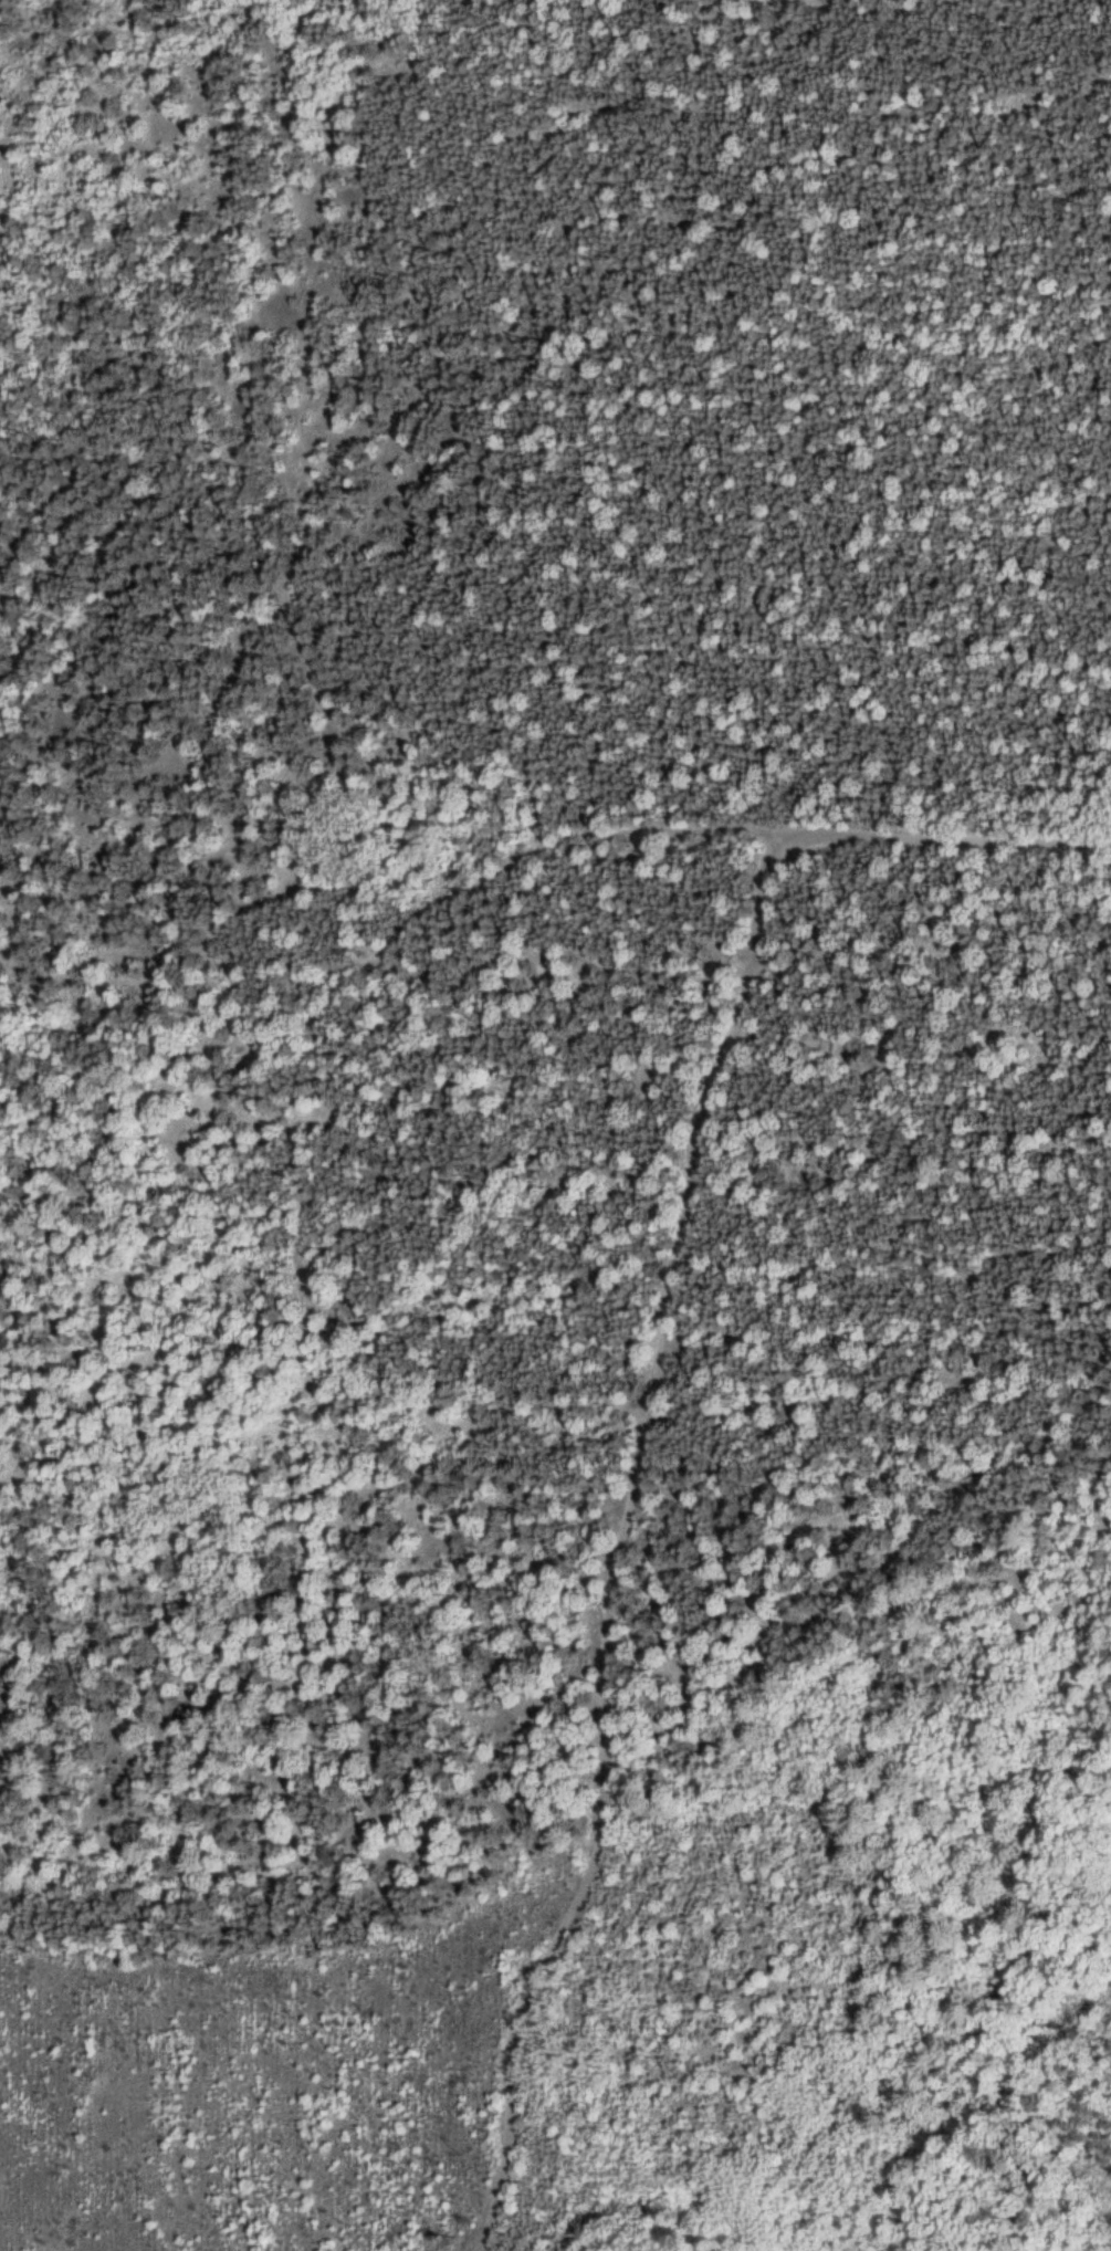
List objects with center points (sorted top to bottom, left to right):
road: (516, 848)
road: (607, 1551)

